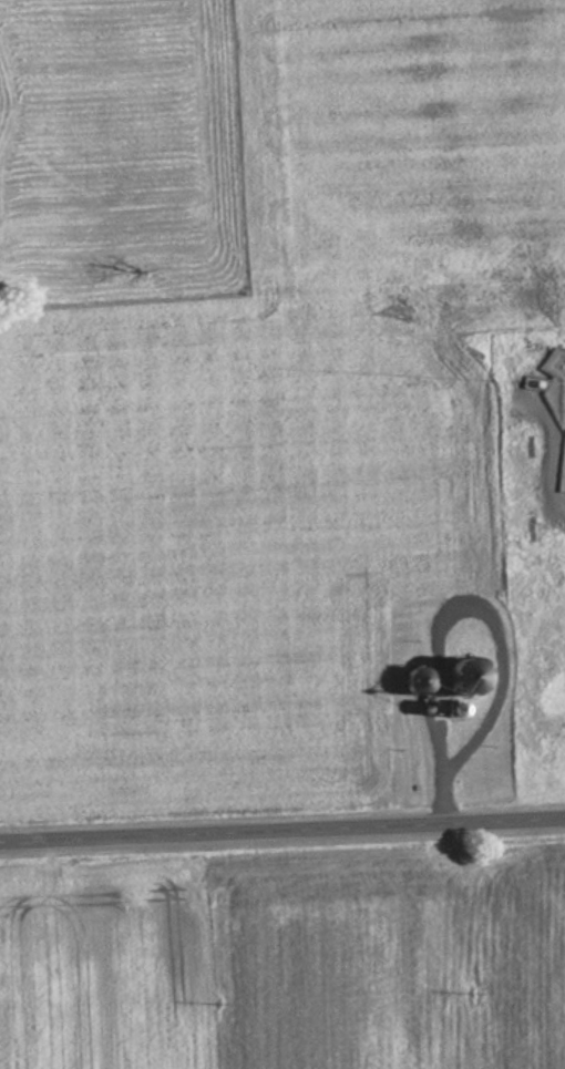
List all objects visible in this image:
road: (282, 837)

